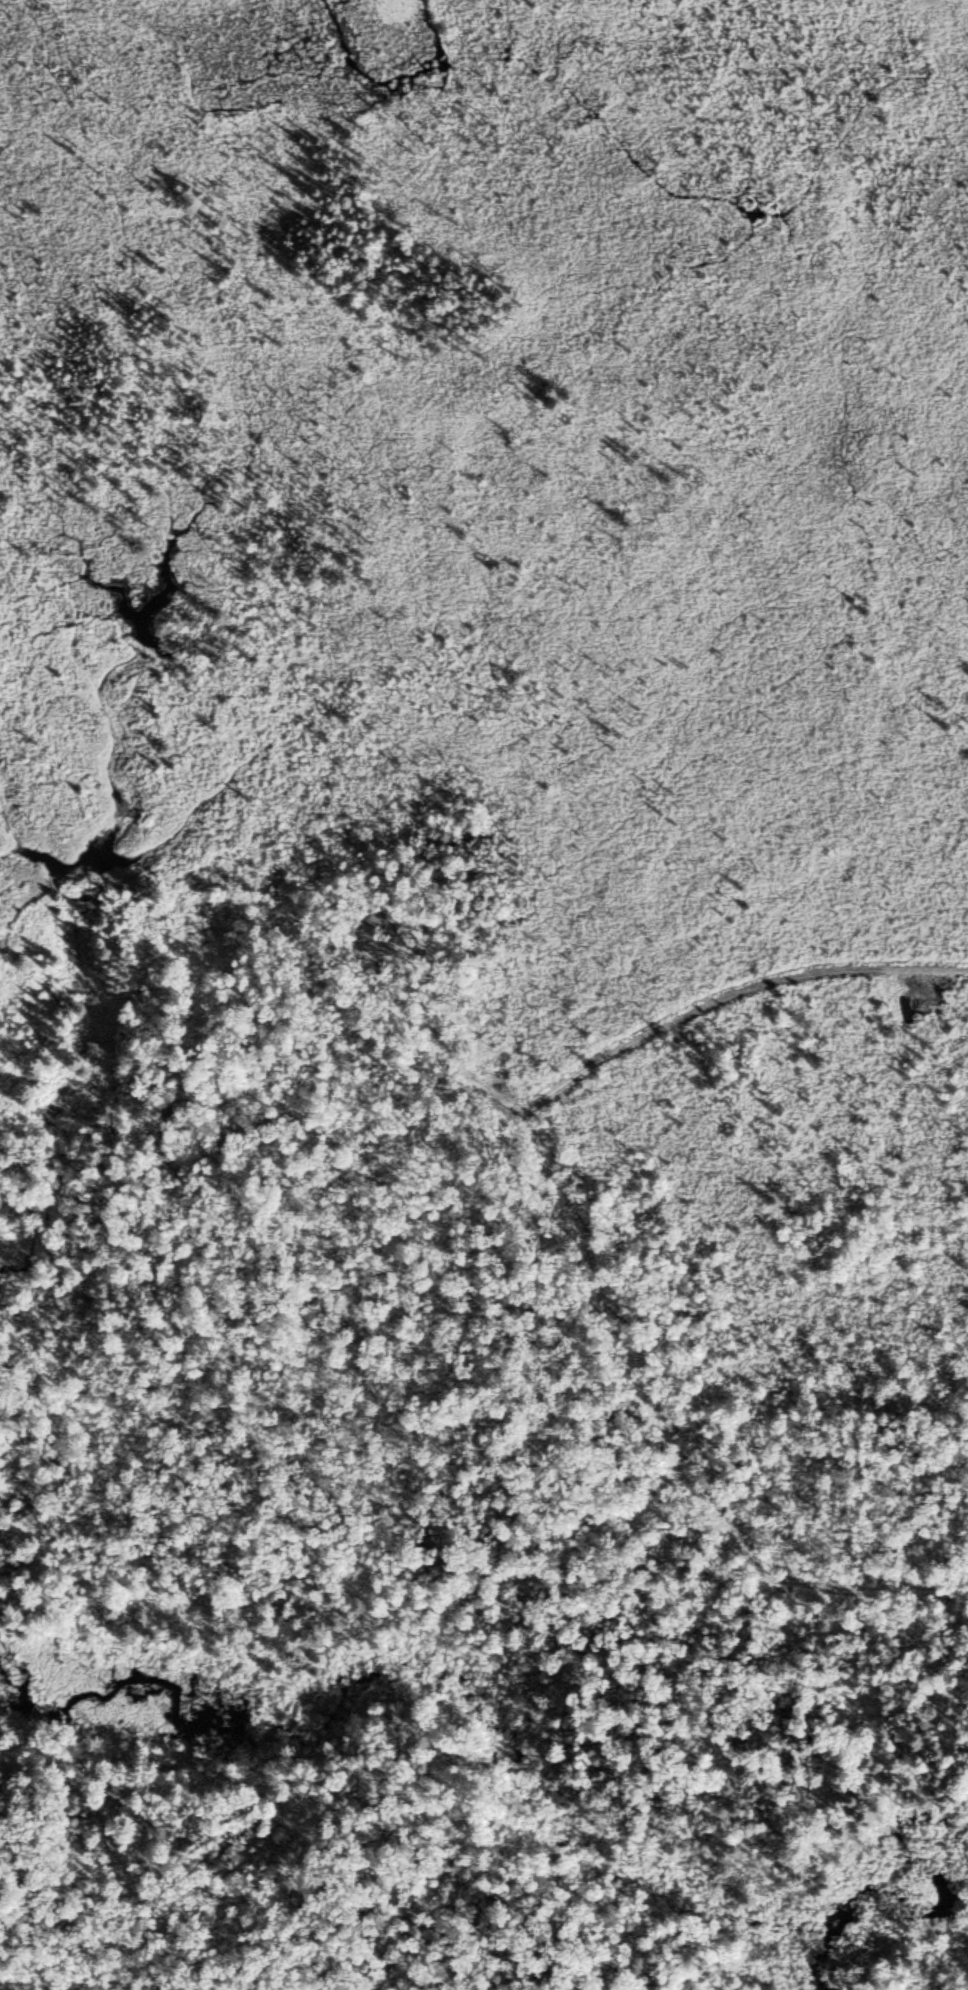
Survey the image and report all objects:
river: (936, 1886)
river: (812, 1963)

